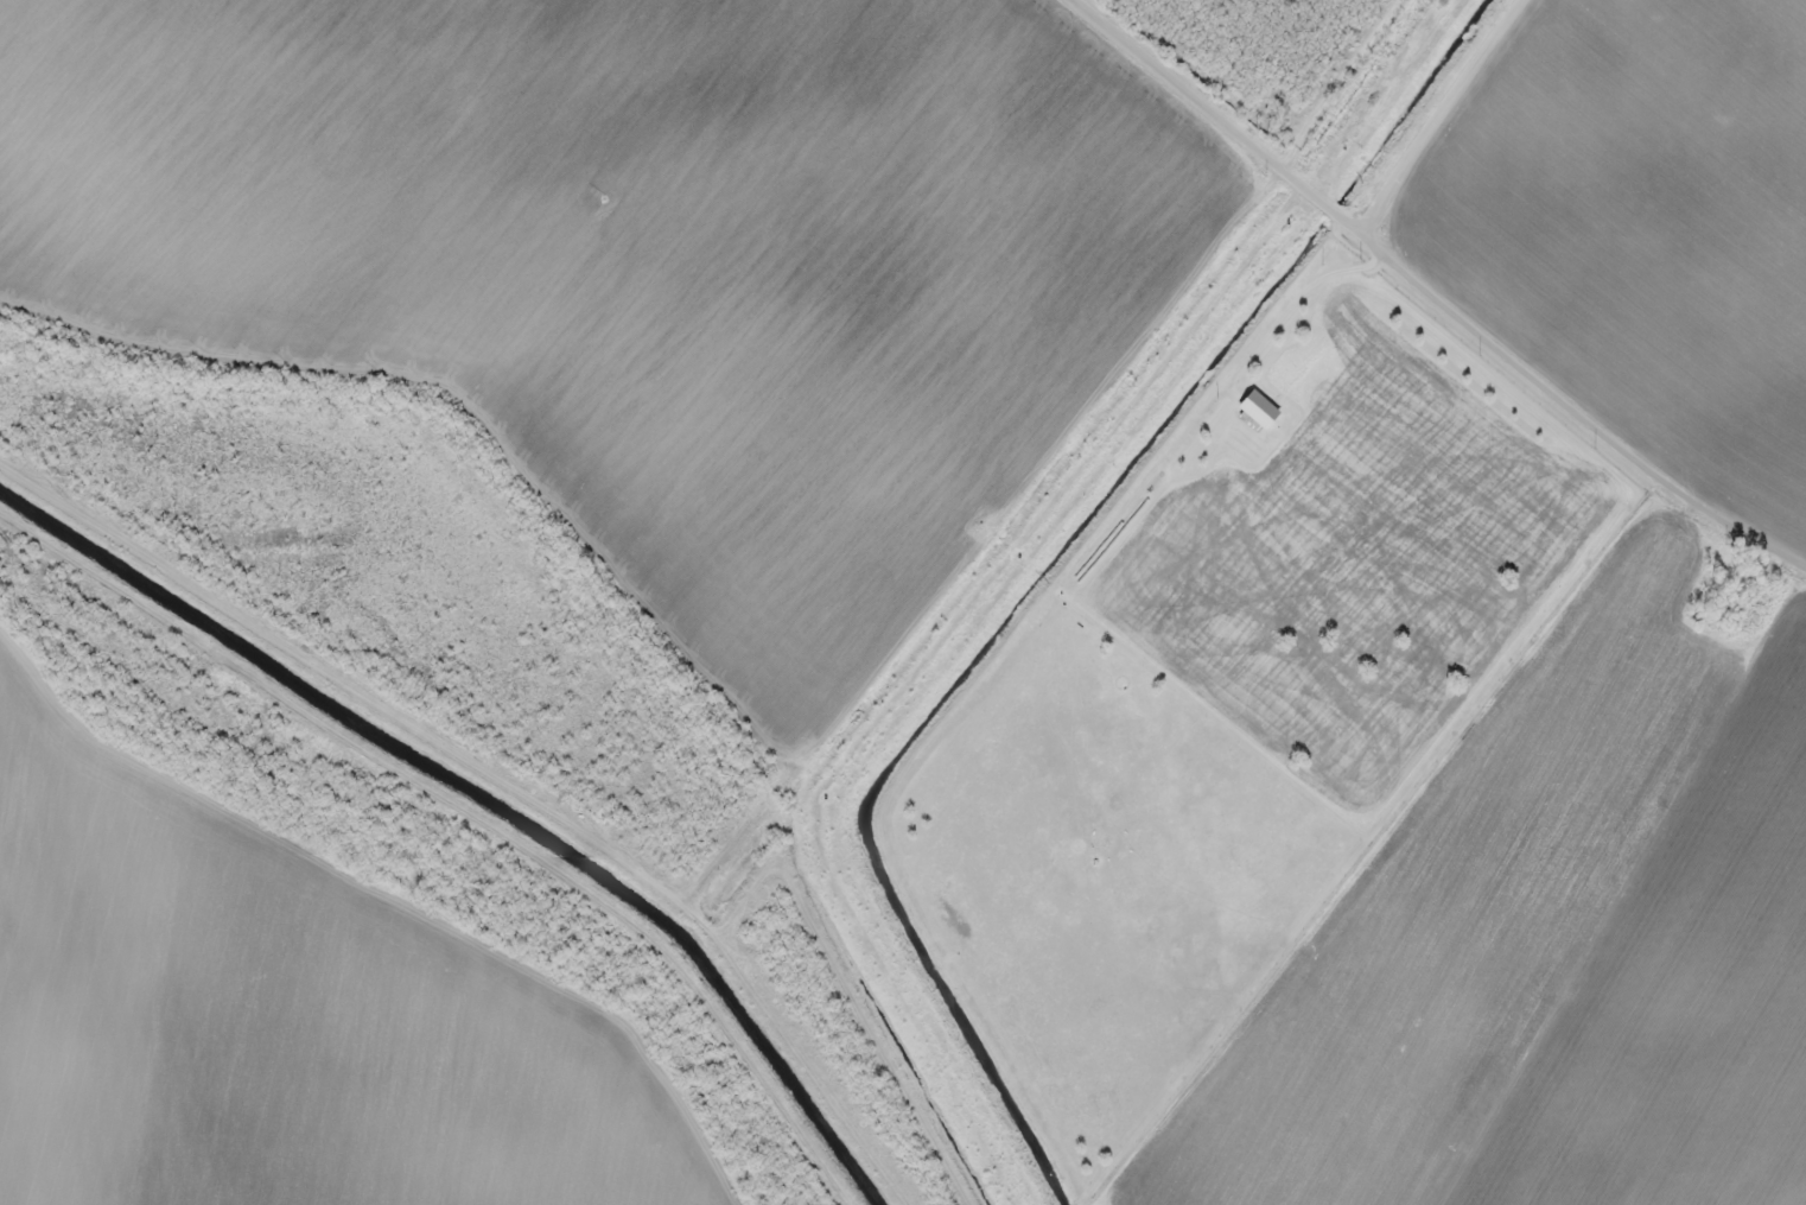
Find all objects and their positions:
building: (342, 120)
building: (27, 266)
road: (1430, 293)
building: (748, 336)
building: (1259, 407)
building: (844, 429)
building: (731, 433)
building: (1462, 987)
building: (1455, 1097)

